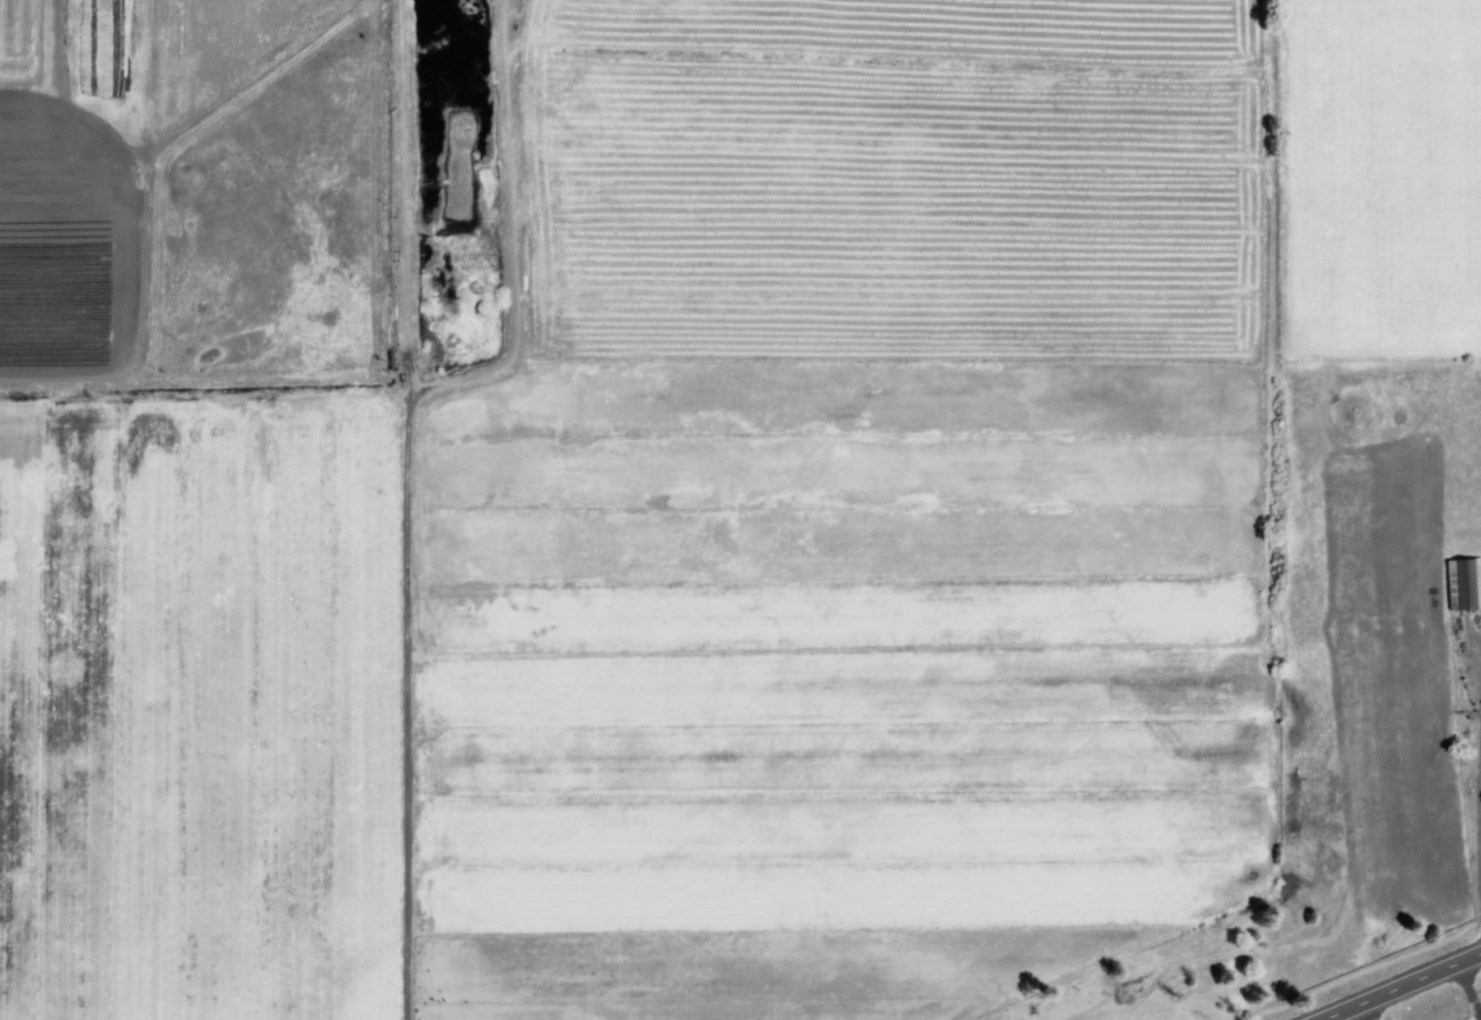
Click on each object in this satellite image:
building: (1465, 586)
road: (408, 799)
road: (1413, 992)

